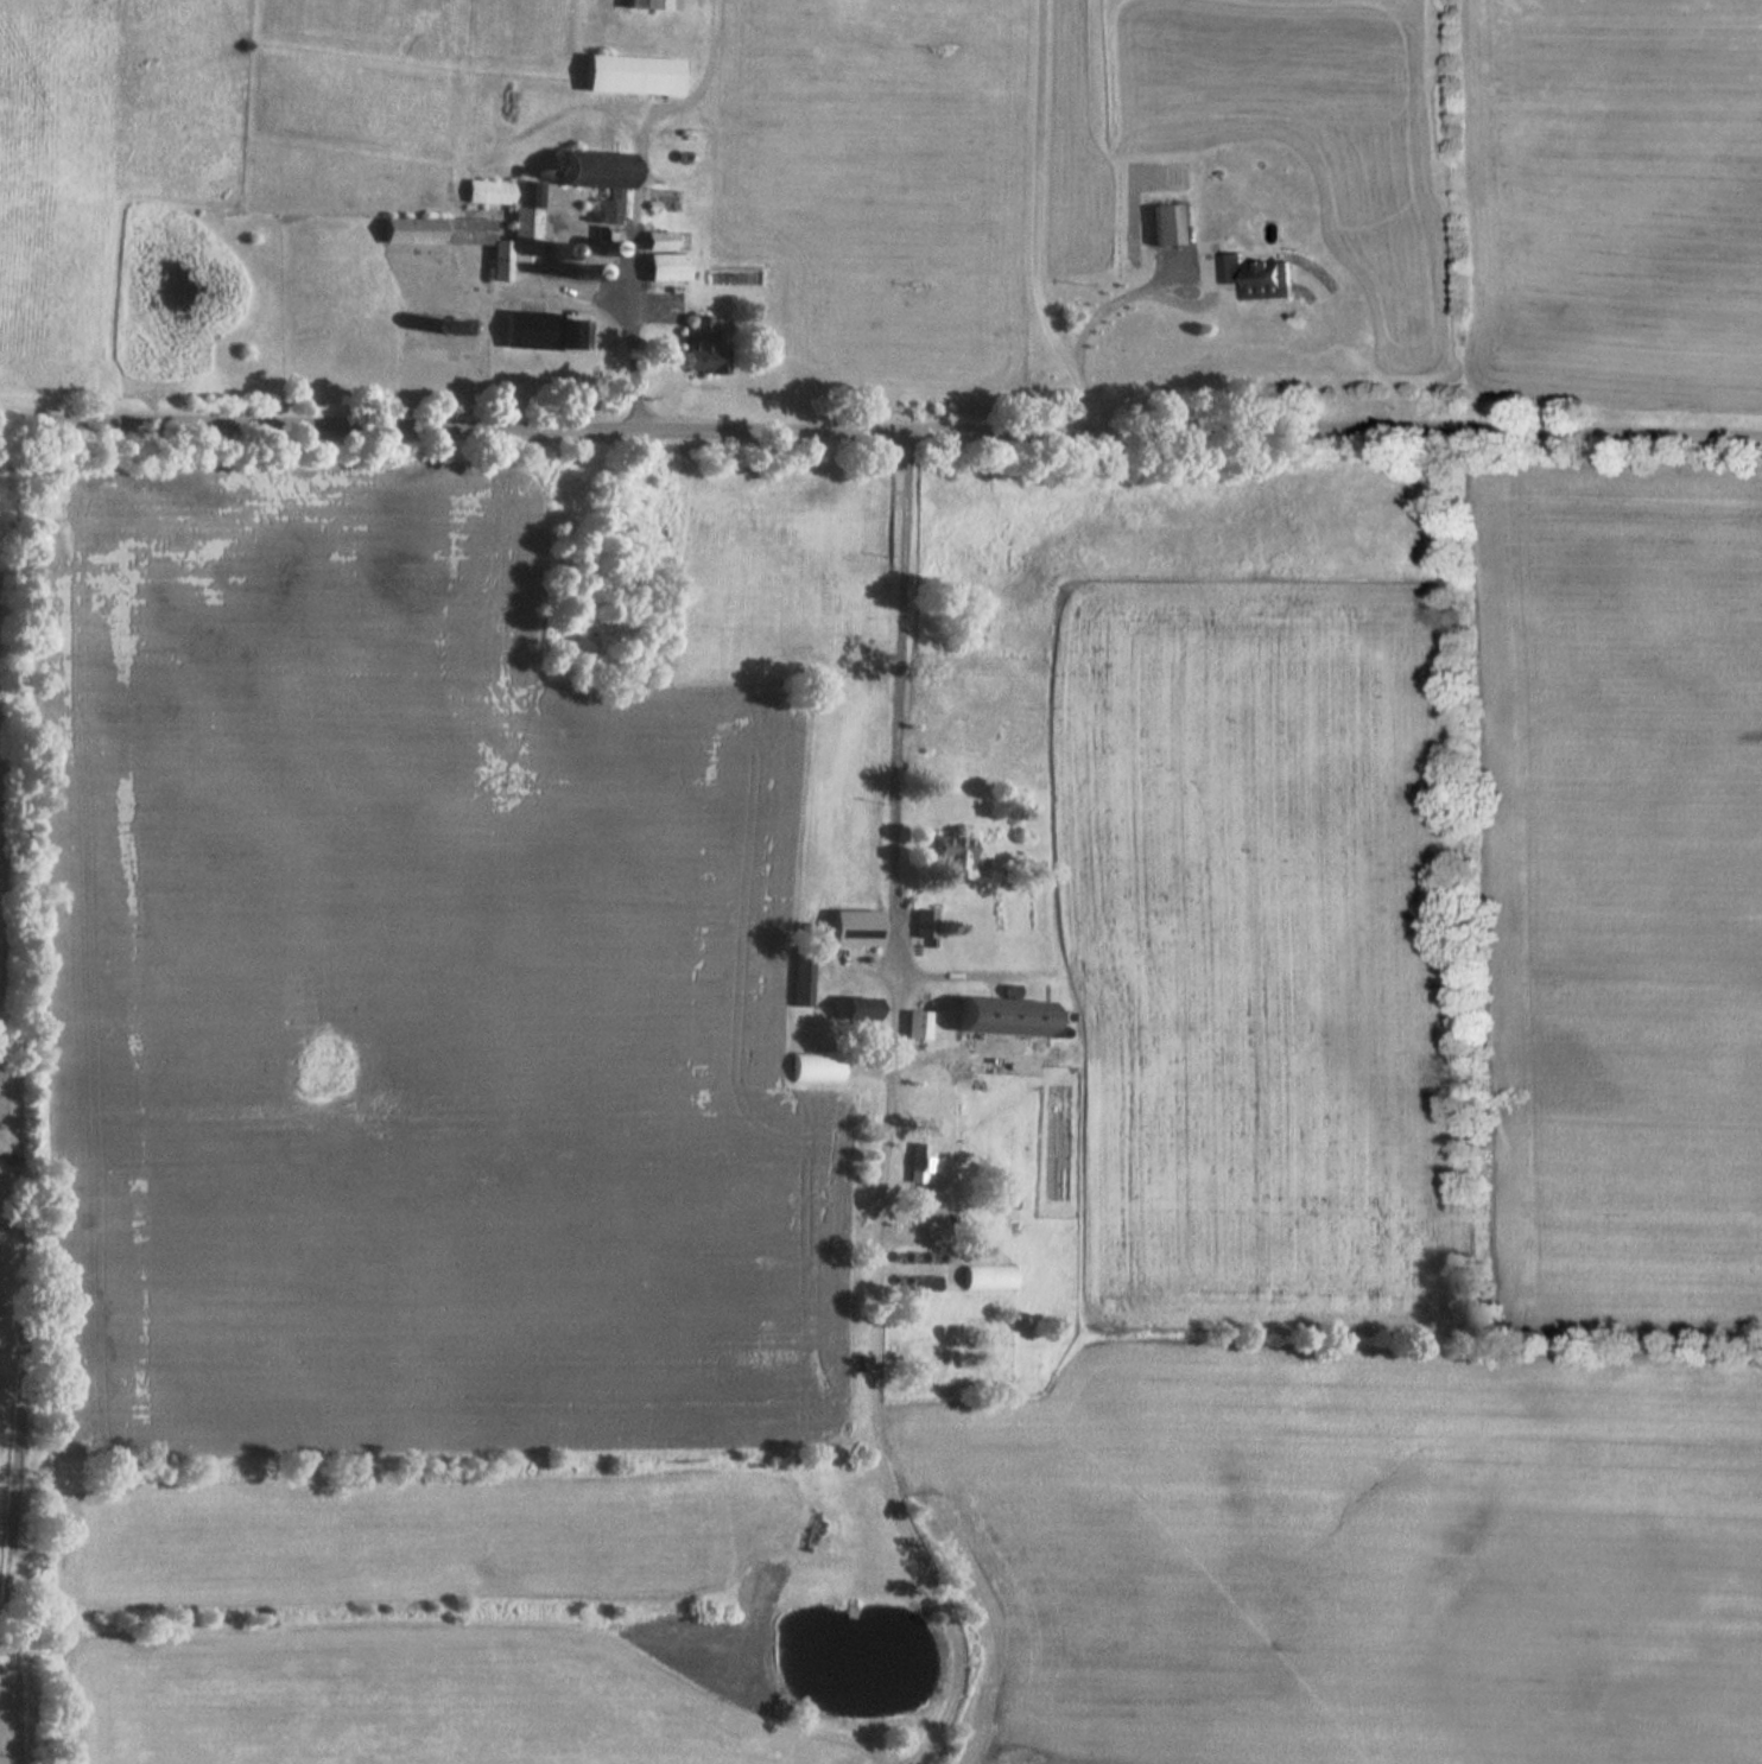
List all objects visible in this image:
building: (654, 4)
building: (634, 74)
building: (508, 104)
building: (600, 167)
building: (610, 211)
road: (1046, 218)
building: (1167, 223)
building: (481, 227)
building: (661, 239)
building: (611, 242)
building: (591, 247)
building: (668, 265)
building: (1259, 275)
road: (1118, 315)
building: (543, 329)
road: (635, 335)
building: (705, 342)
road: (881, 427)
building: (953, 856)
building: (926, 922)
building: (858, 926)
building: (805, 976)
building: (1008, 1014)
building: (861, 1015)
building: (919, 1015)
building: (818, 1066)
road: (888, 1110)
building: (991, 1276)

